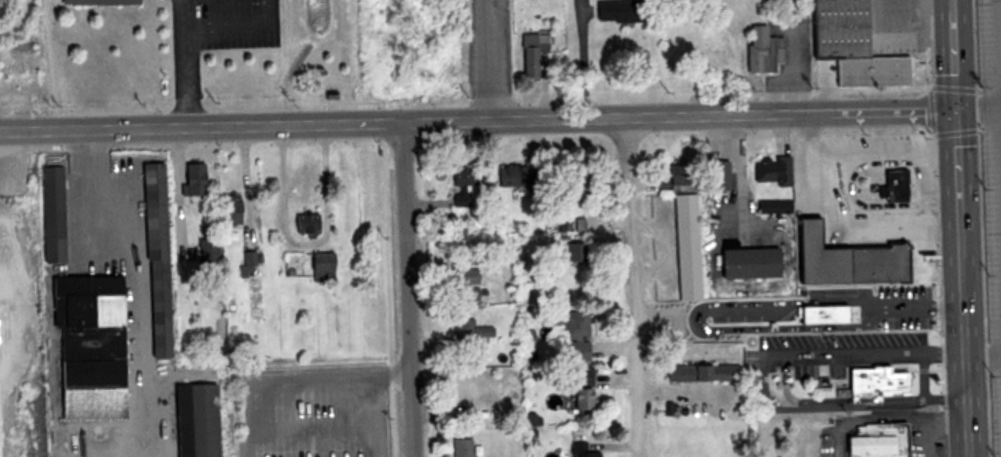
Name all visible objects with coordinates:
building: (105, 2)
road: (191, 11)
building: (630, 11)
road: (240, 21)
building: (859, 49)
building: (770, 50)
road: (953, 54)
building: (540, 56)
road: (581, 58)
road: (488, 59)
road: (193, 74)
road: (978, 108)
traffic signals: (955, 109)
road: (477, 119)
building: (777, 170)
building: (723, 174)
building: (684, 175)
building: (523, 176)
building: (470, 177)
building: (202, 182)
building: (580, 182)
building: (898, 186)
building: (237, 205)
building: (775, 206)
building: (59, 213)
building: (311, 225)
building: (692, 247)
building: (213, 250)
building: (579, 252)
building: (164, 259)
building: (857, 260)
building: (759, 262)
building: (254, 264)
building: (331, 266)
building: (470, 276)
road: (625, 282)
road: (962, 282)
road: (402, 290)
road: (844, 292)
building: (860, 308)
road: (795, 320)
building: (475, 330)
building: (581, 335)
building: (96, 347)
road: (983, 360)
building: (707, 372)
building: (882, 383)
building: (590, 398)
building: (202, 420)
building: (881, 441)
building: (468, 447)
building: (593, 453)

